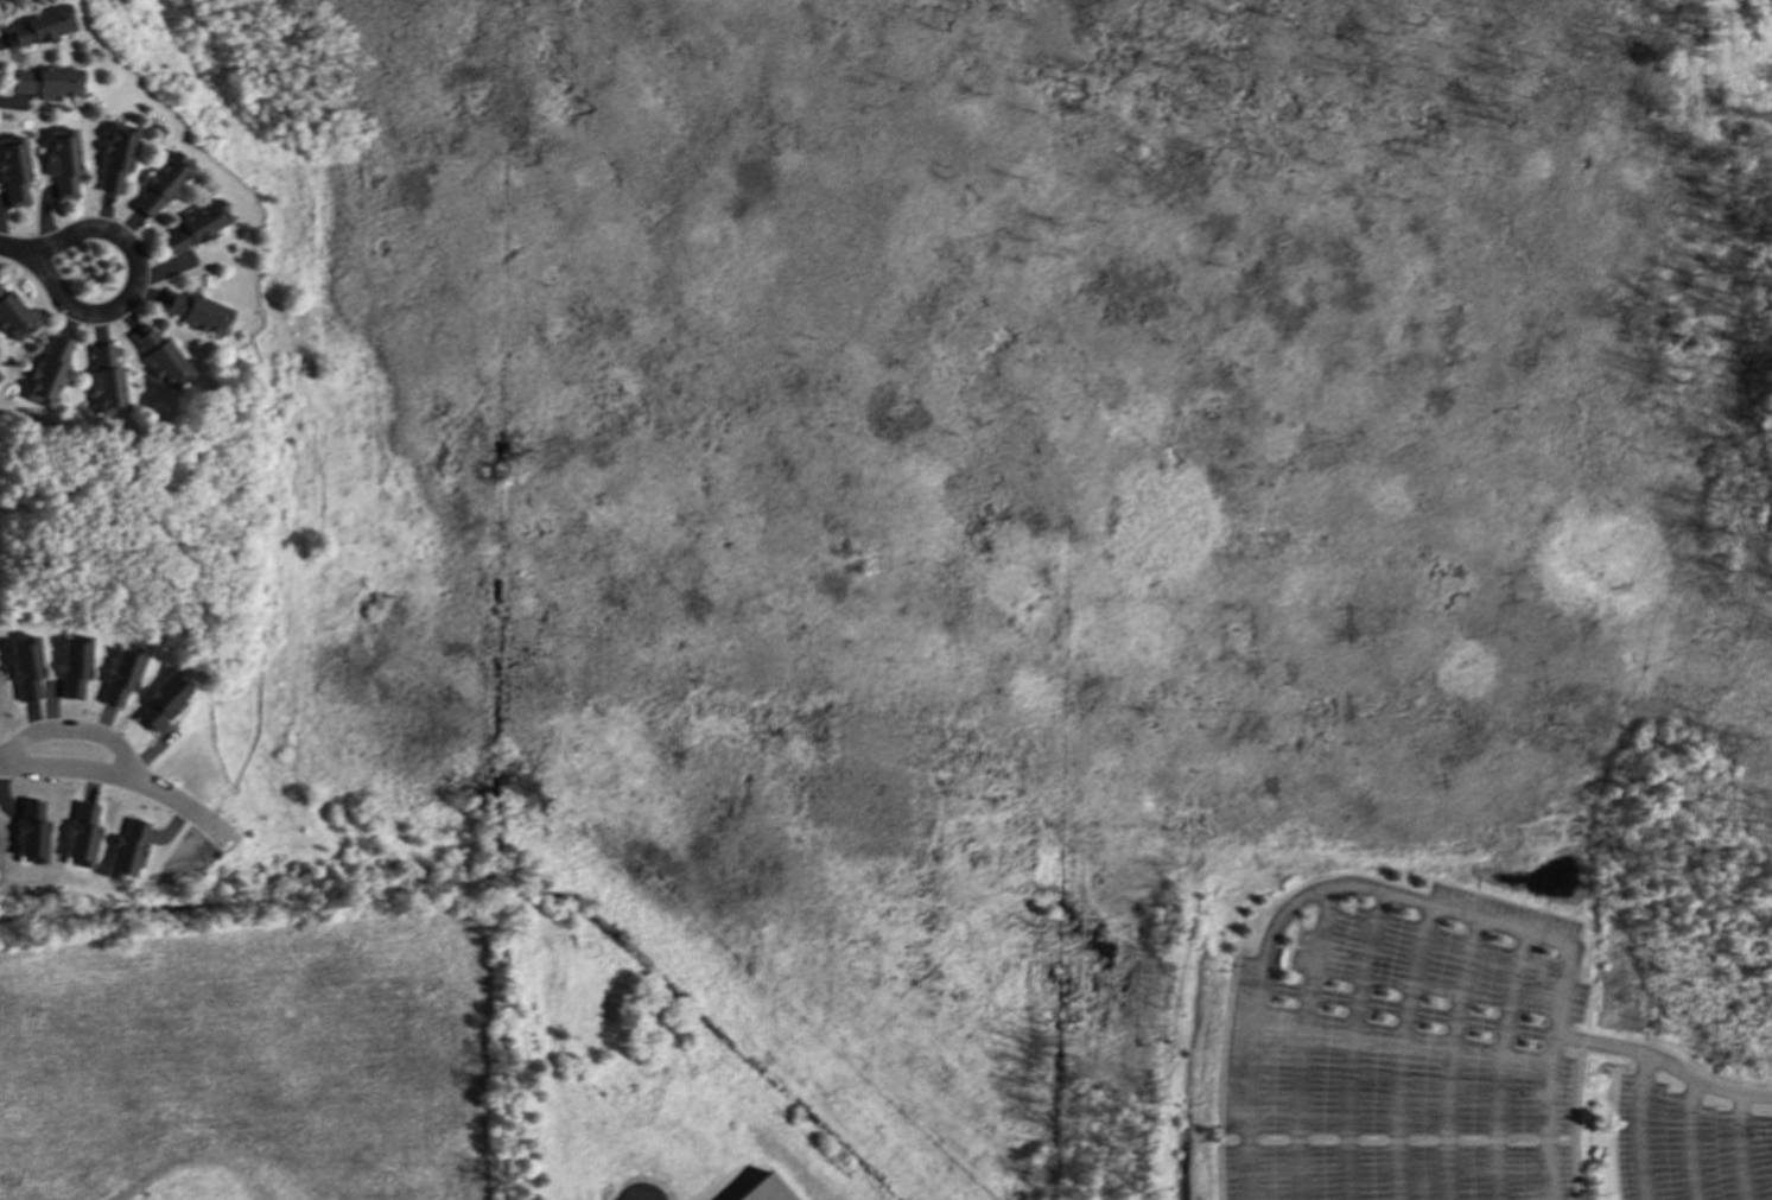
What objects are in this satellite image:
building: (37, 25)
building: (44, 81)
building: (113, 157)
building: (59, 160)
building: (12, 171)
building: (159, 183)
building: (192, 224)
road: (13, 245)
road: (134, 281)
building: (192, 310)
building: (12, 317)
building: (158, 356)
building: (45, 370)
building: (102, 380)
building: (23, 665)
building: (70, 665)
building: (118, 674)
building: (160, 699)
road: (129, 775)
building: (78, 834)
building: (125, 849)
road: (1368, 887)
road: (1645, 1058)
road: (1738, 1145)
building: (762, 1189)

